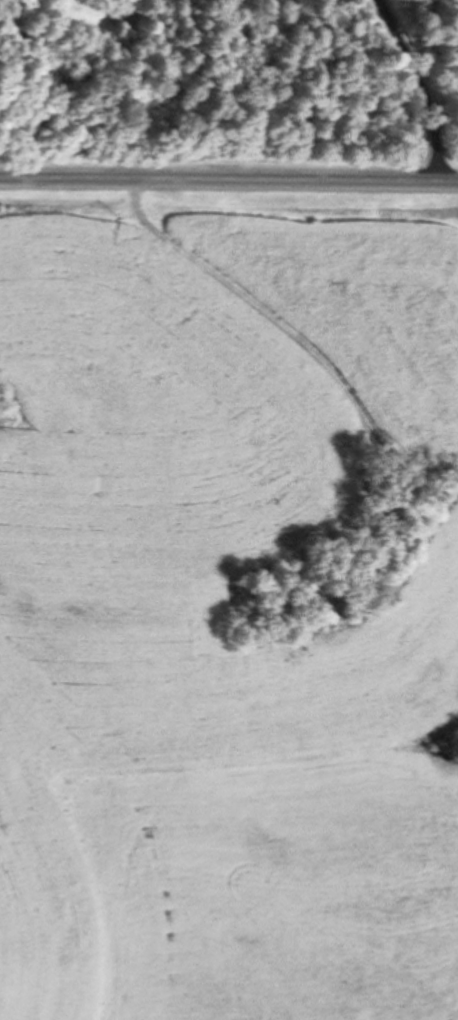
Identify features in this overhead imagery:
road: (416, 86)
road: (228, 179)

